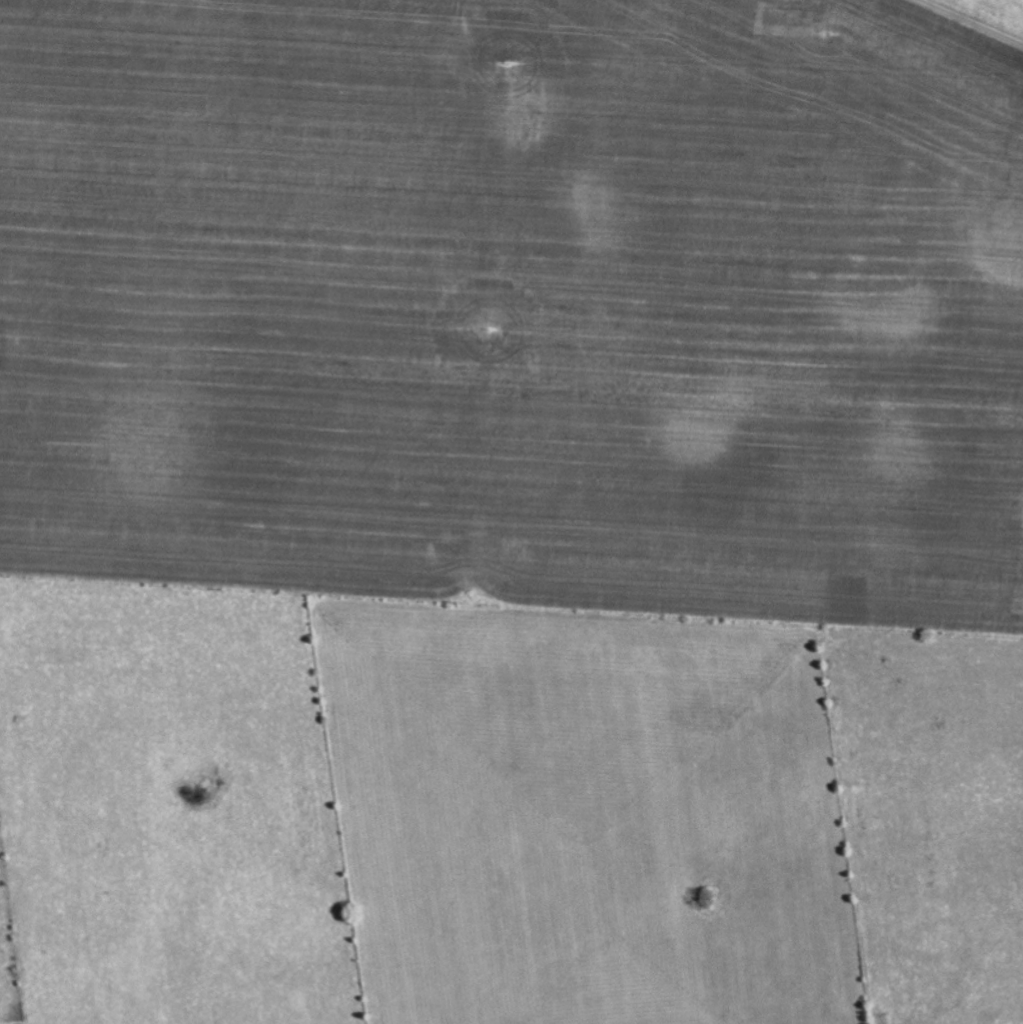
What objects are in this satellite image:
road: (971, 22)

